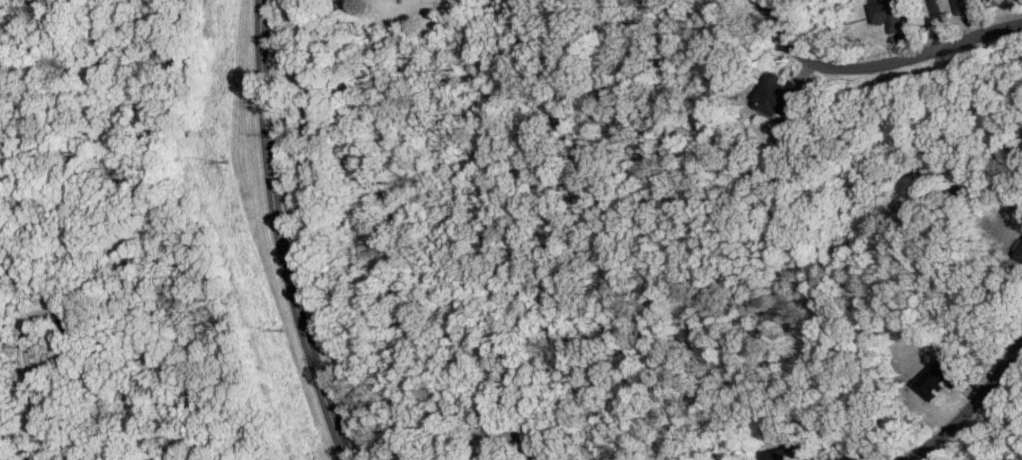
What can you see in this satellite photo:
building: (964, 6)
building: (888, 15)
road: (940, 22)
road: (878, 68)
road: (604, 82)
building: (778, 95)
road: (281, 234)
building: (937, 379)
road: (32, 398)
road: (974, 410)
building: (786, 453)

